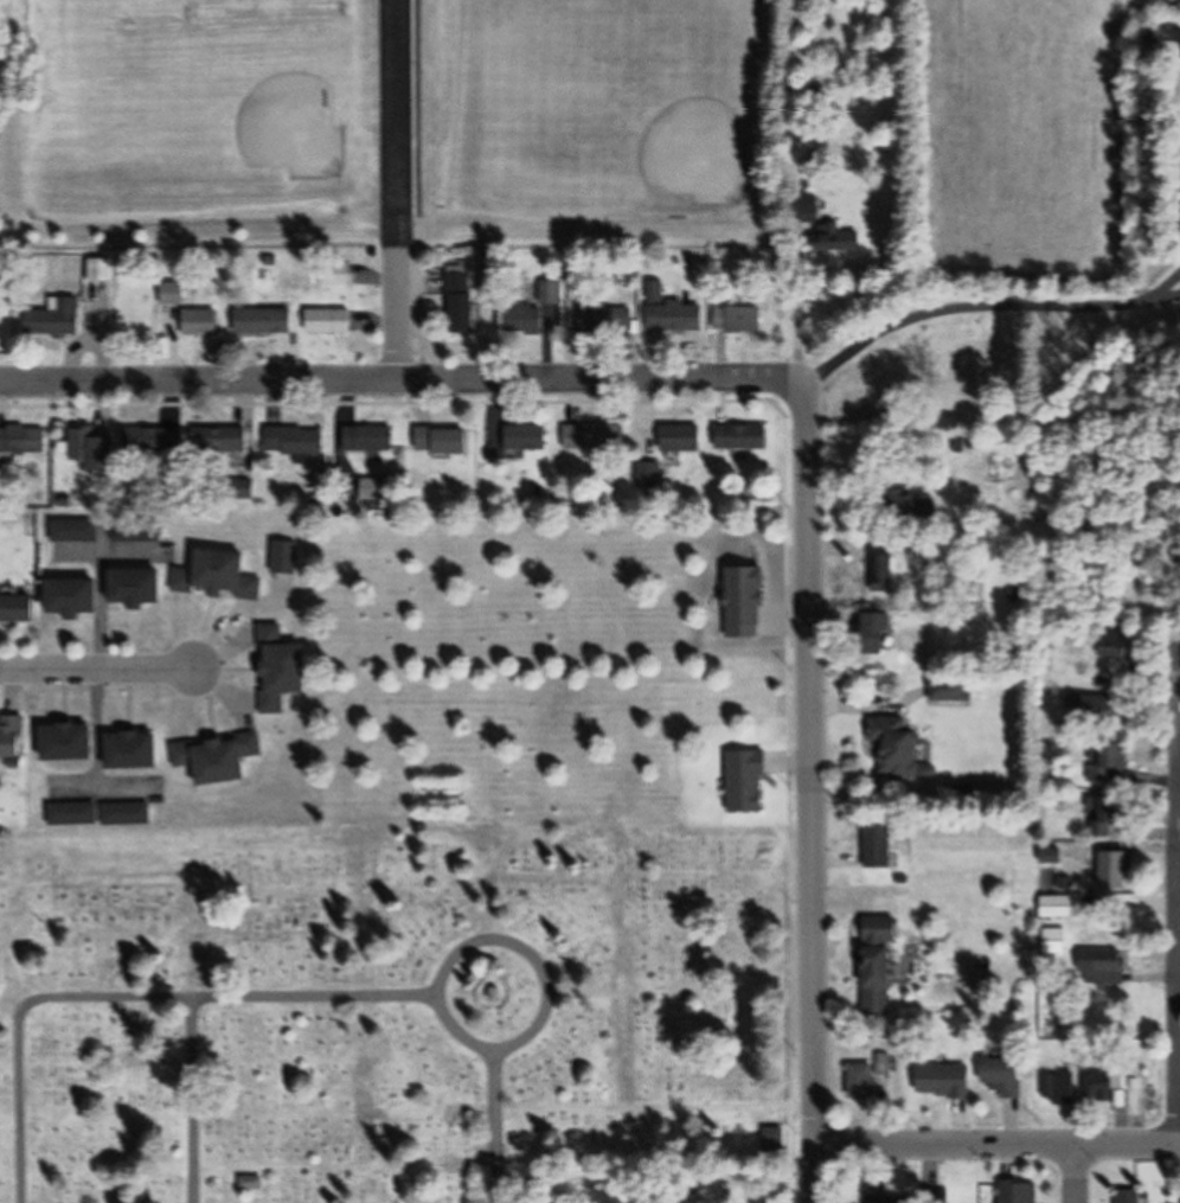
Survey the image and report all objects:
park: (622, 49)
park: (294, 128)
park: (692, 156)
road: (396, 193)
building: (836, 239)
building: (100, 271)
building: (338, 275)
building: (552, 293)
building: (461, 301)
road: (982, 309)
building: (673, 314)
building: (57, 320)
building: (525, 321)
building: (605, 321)
building: (738, 321)
building: (264, 322)
building: (331, 322)
building: (200, 324)
road: (400, 386)
building: (743, 437)
building: (525, 439)
building: (594, 439)
building: (682, 439)
building: (24, 440)
building: (368, 440)
building: (295, 441)
building: (442, 441)
building: (155, 443)
building: (223, 443)
building: (94, 448)
building: (649, 475)
building: (378, 489)
building: (910, 508)
building: (76, 531)
building: (219, 576)
building: (883, 577)
building: (137, 589)
building: (76, 597)
building: (18, 608)
building: (881, 633)
building: (1117, 645)
road: (97, 663)
building: (282, 670)
building: (951, 689)
building: (1099, 708)
building: (12, 737)
building: (72, 743)
building: (899, 748)
building: (135, 751)
building: (218, 759)
building: (1108, 761)
road: (804, 794)
building: (73, 814)
building: (126, 814)
building: (1111, 820)
building: (880, 845)
building: (1115, 871)
road: (1178, 894)
building: (1058, 907)
road: (462, 953)
building: (884, 967)
building: (1101, 967)
road: (1179, 980)
road: (107, 998)
park: (367, 999)
building: (870, 1077)
building: (1006, 1077)
building: (945, 1082)
building: (1104, 1086)
building: (1060, 1089)
road: (492, 1101)
road: (996, 1144)
road: (1071, 1173)
road: (488, 1175)
building: (251, 1184)
building: (883, 1192)
building: (1021, 1192)
building: (1131, 1197)

